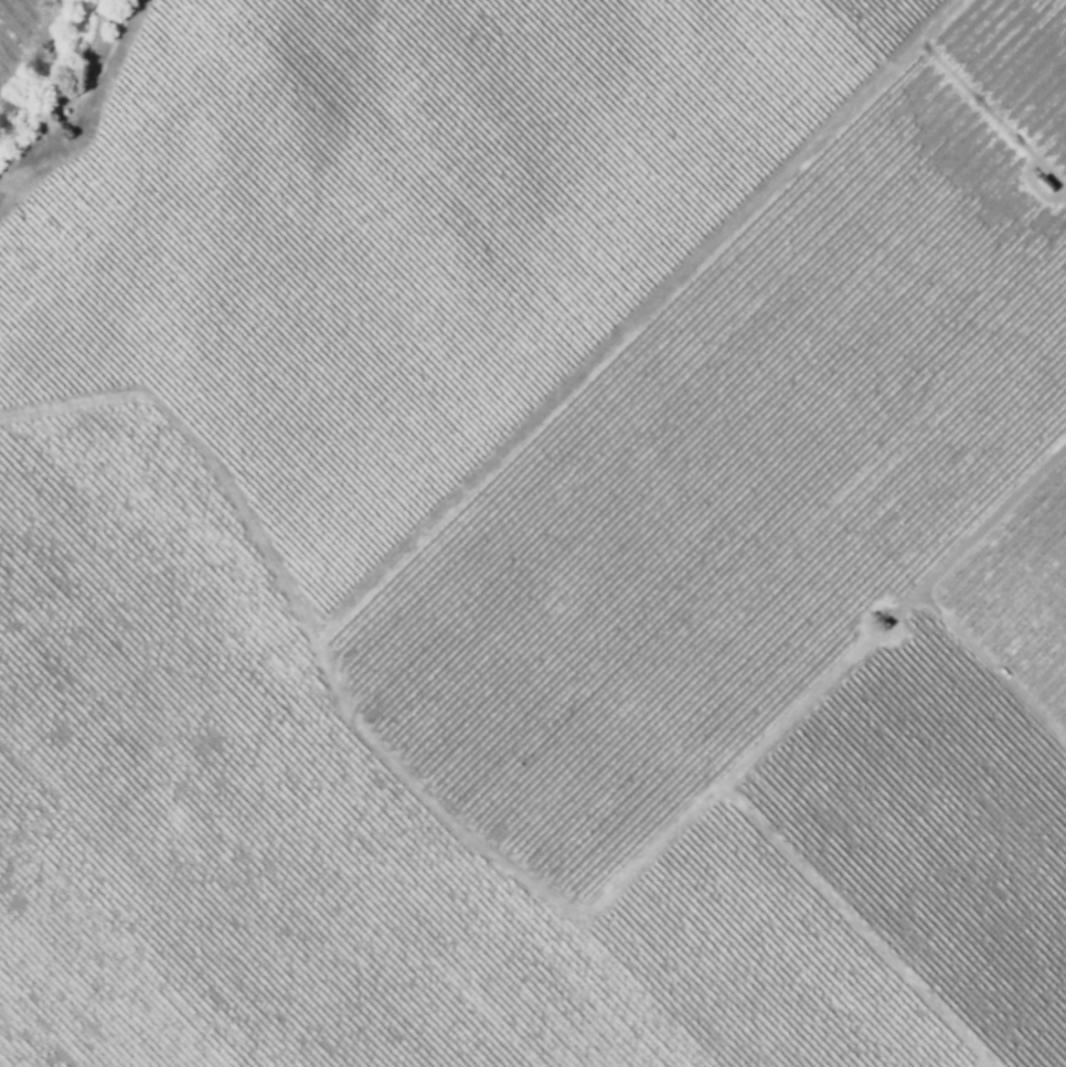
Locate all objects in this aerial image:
building: (1044, 181)
building: (883, 620)

